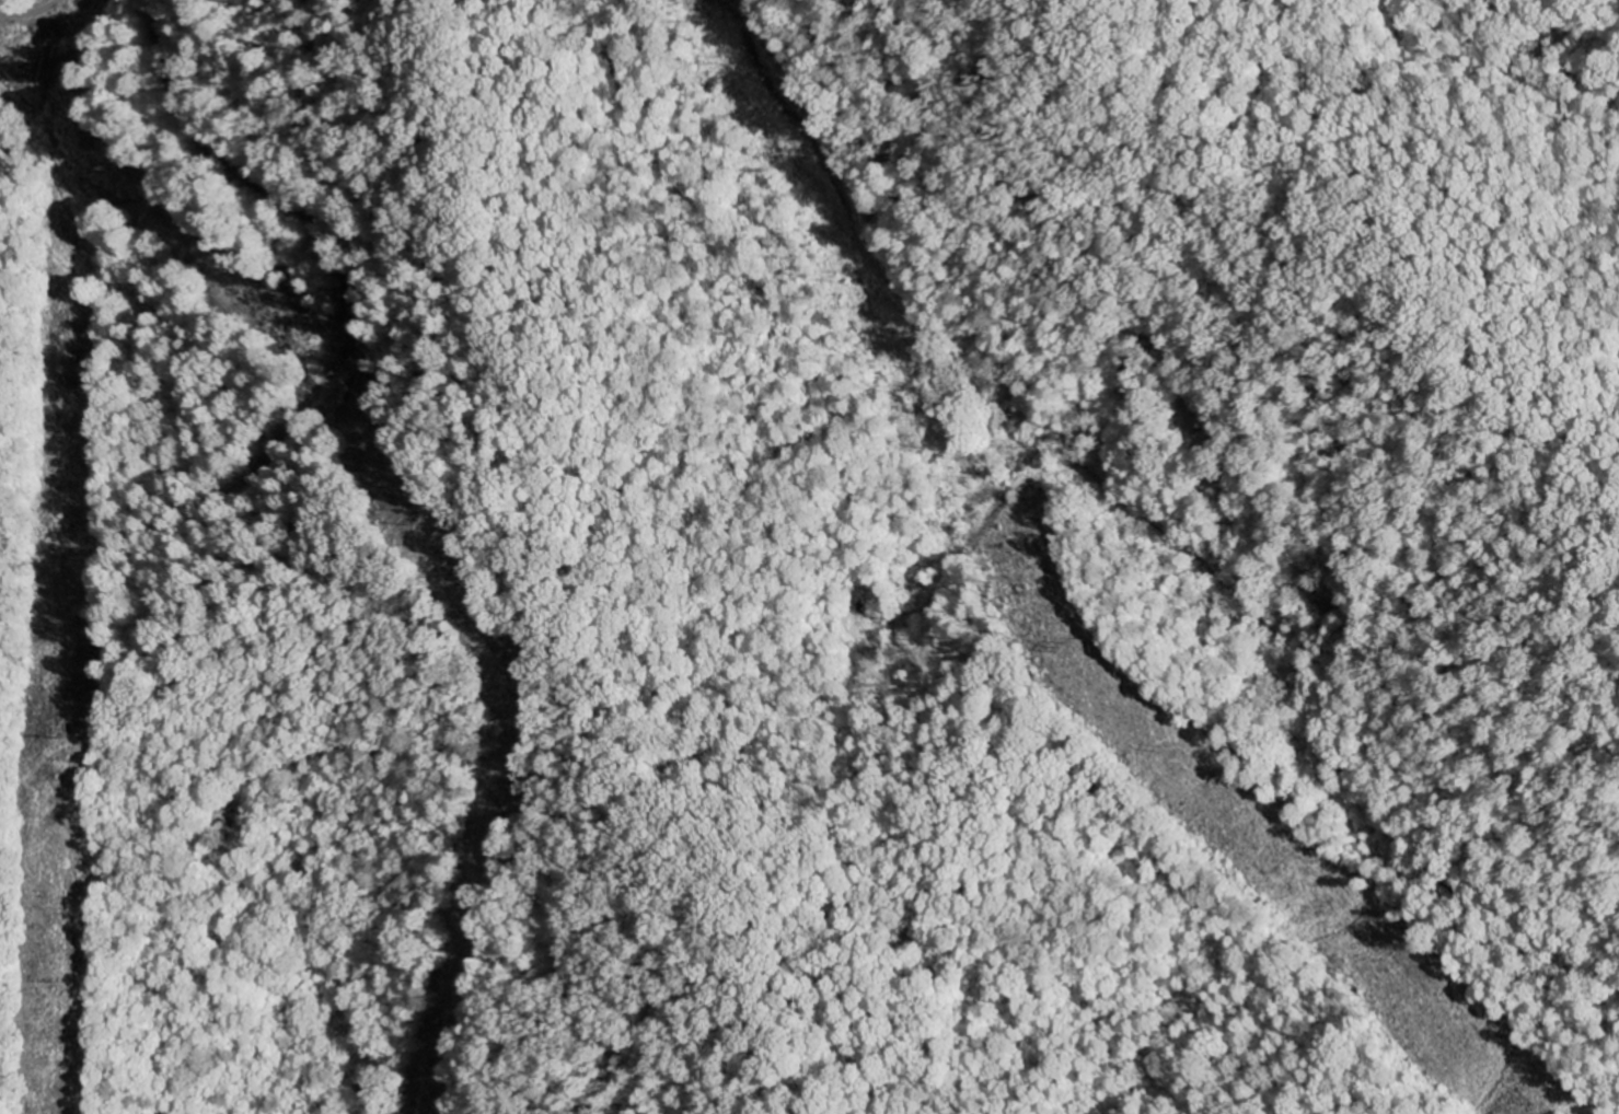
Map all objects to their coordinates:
power tower: (1052, 651)
road: (1459, 883)

